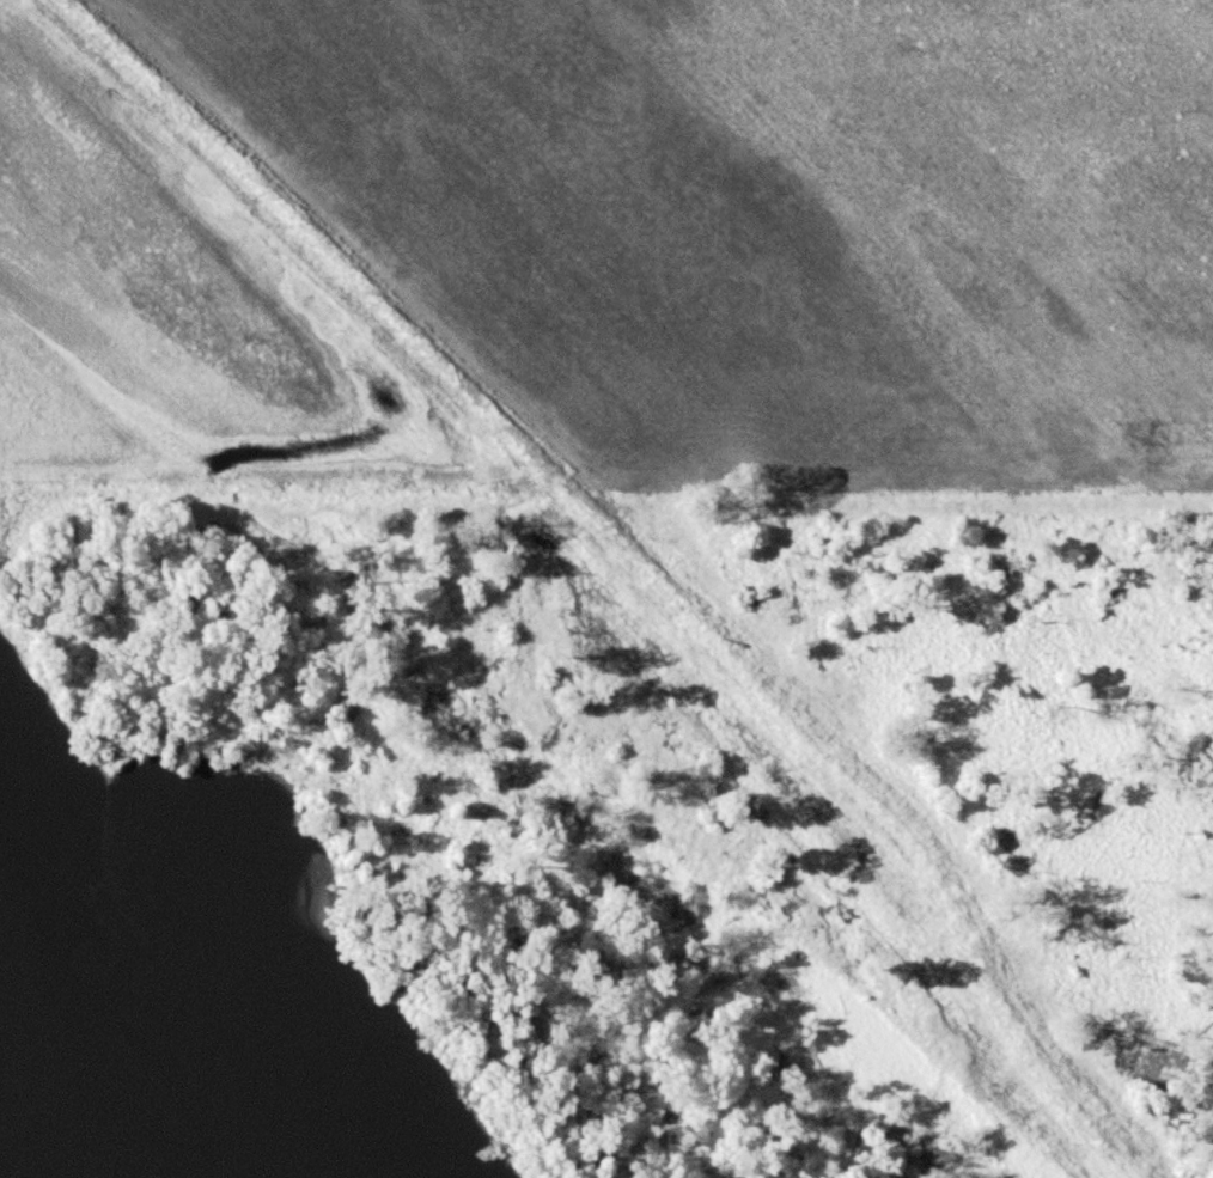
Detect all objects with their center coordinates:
river: (48, 1131)

